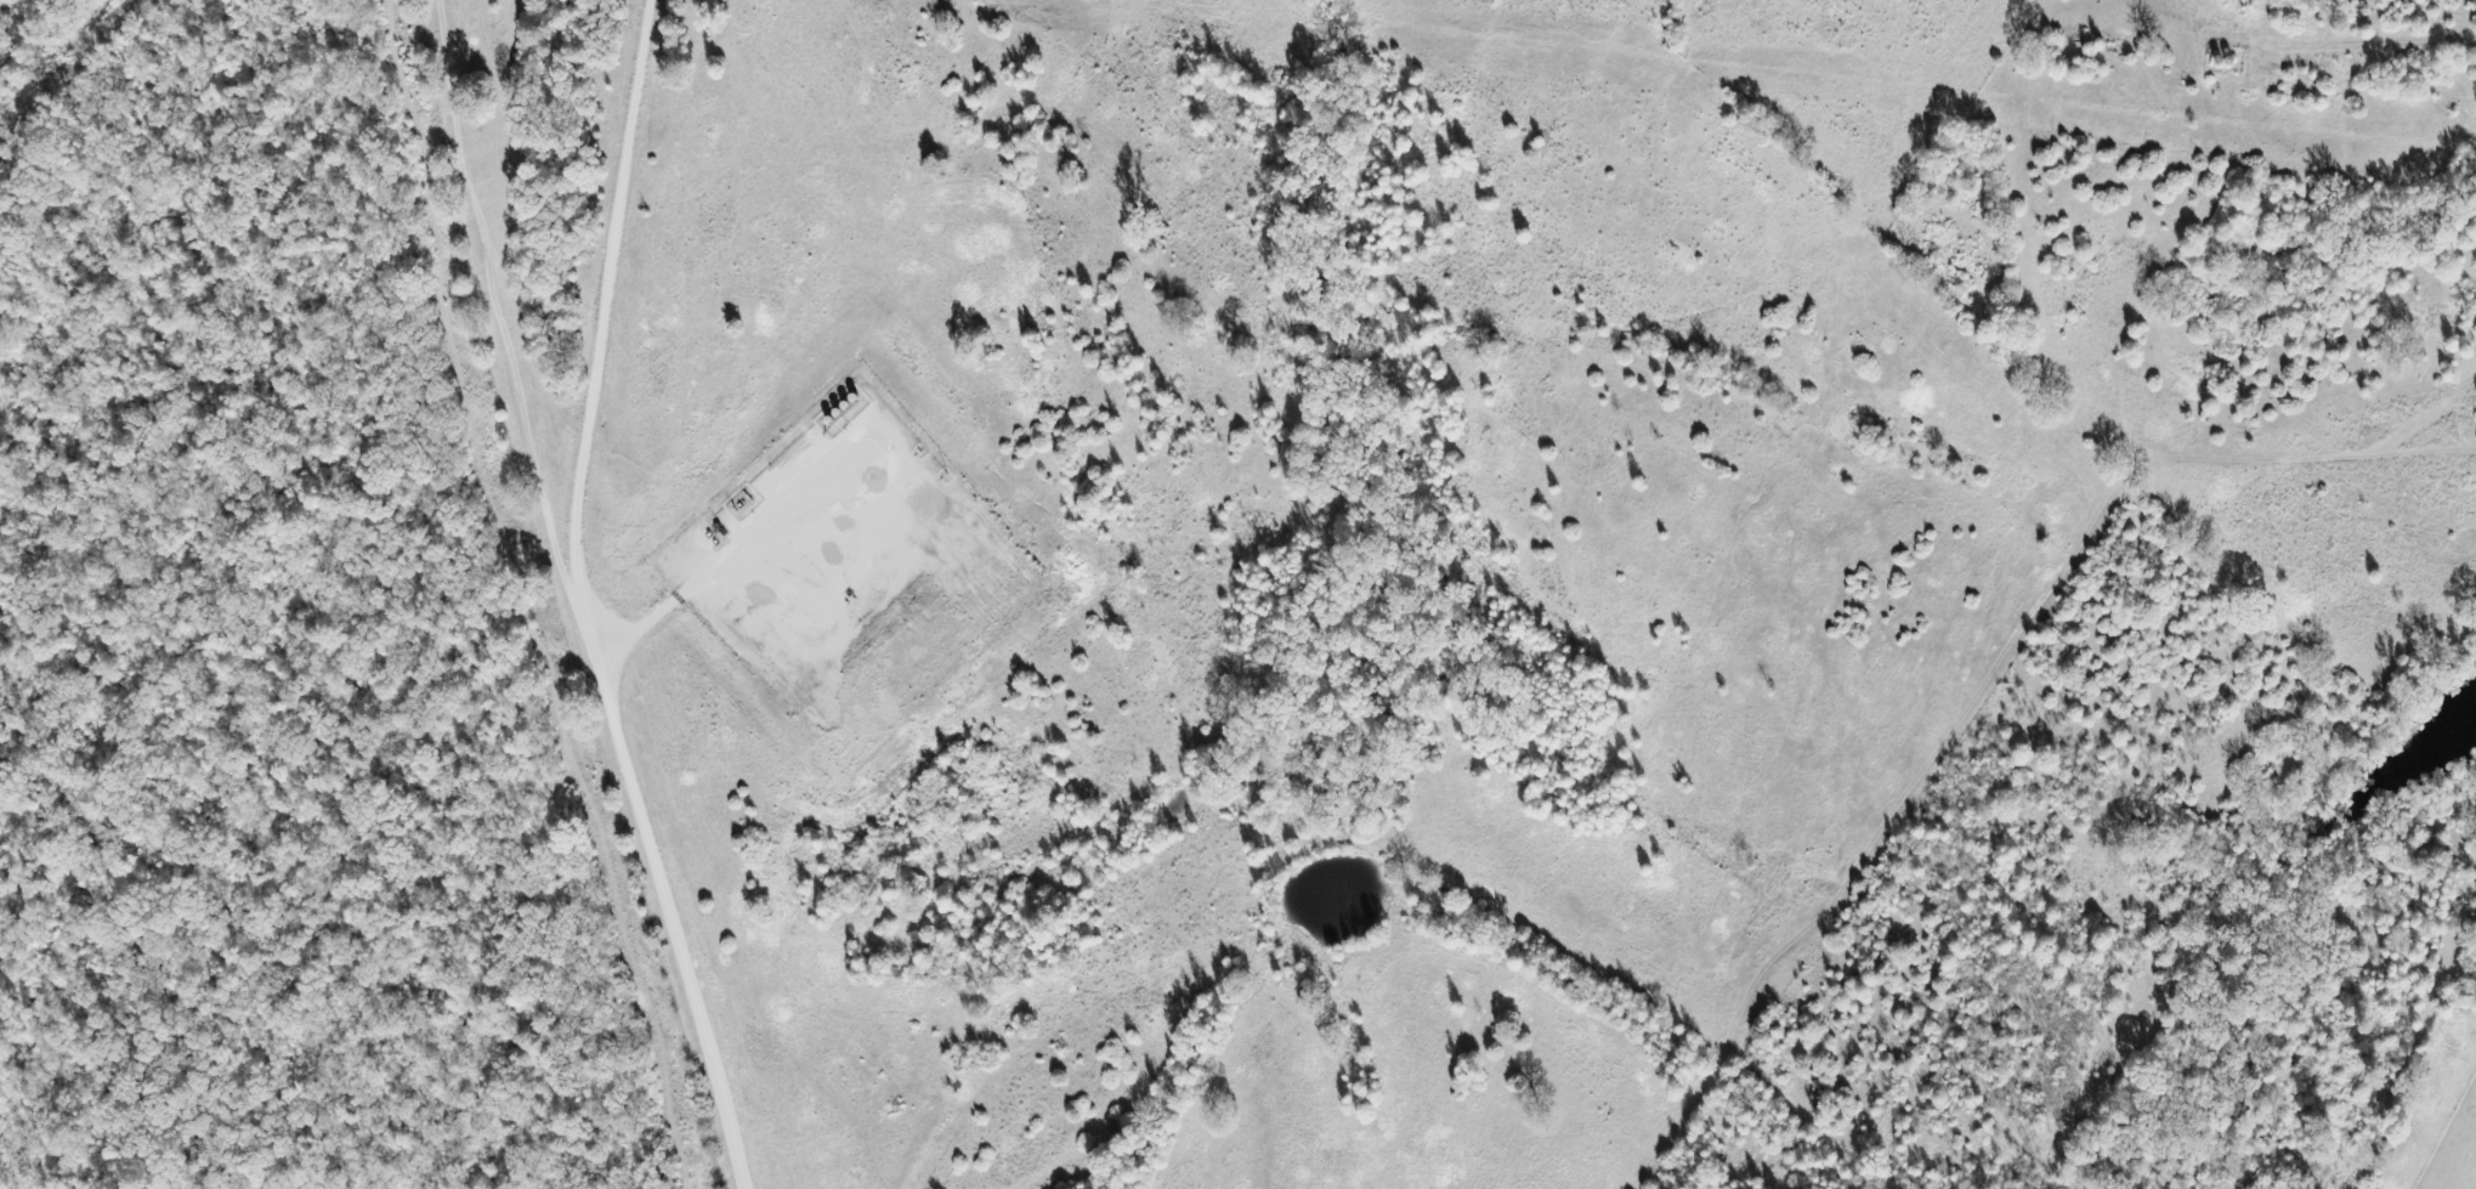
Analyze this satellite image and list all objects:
road: (536, 599)

